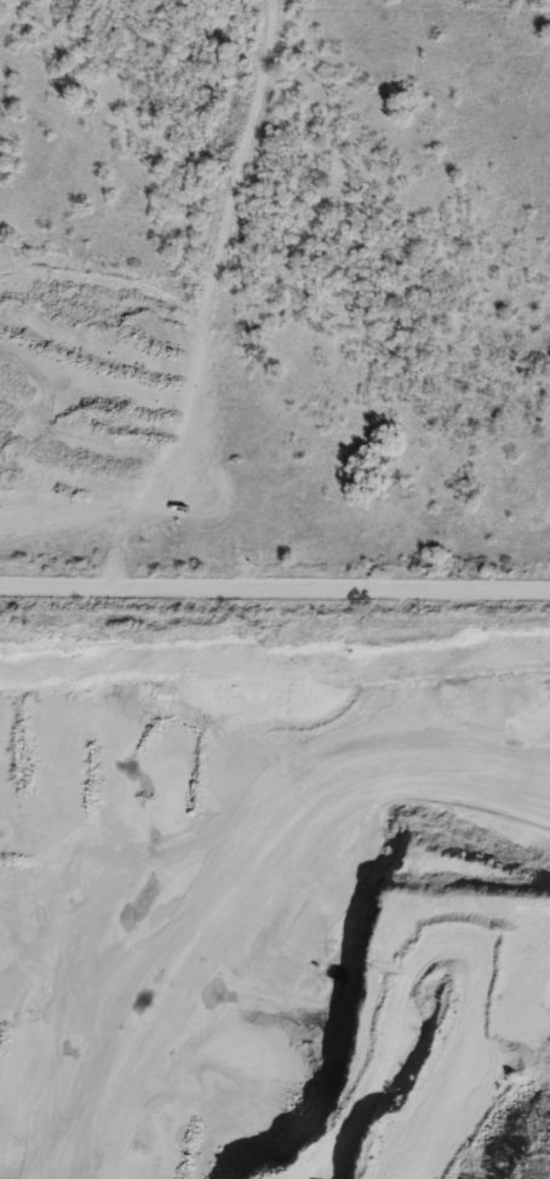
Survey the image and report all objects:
road: (275, 585)
quarry: (274, 895)

